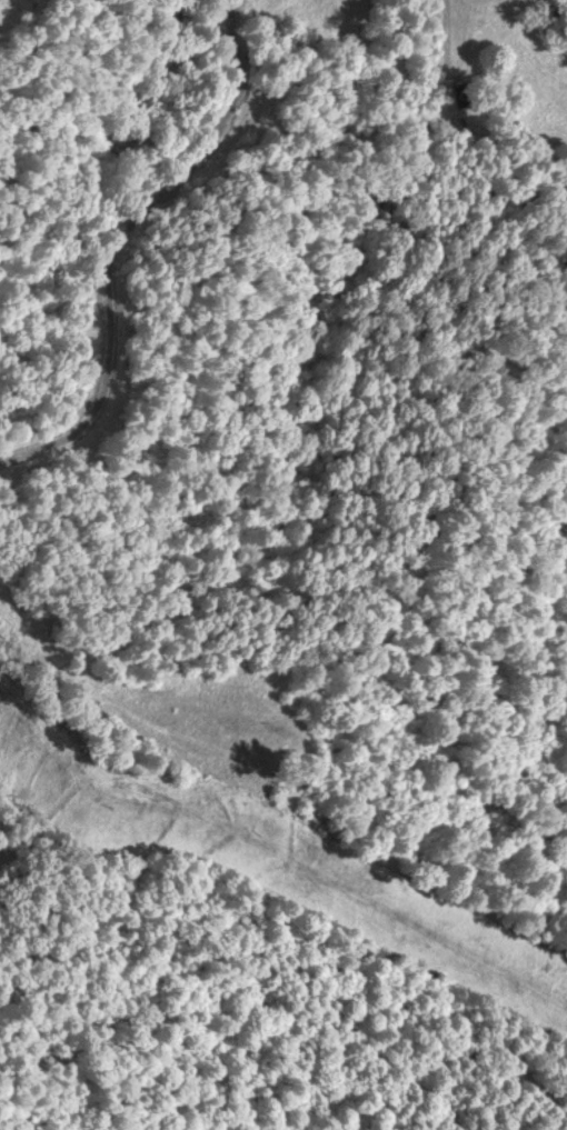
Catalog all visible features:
road: (558, 8)

